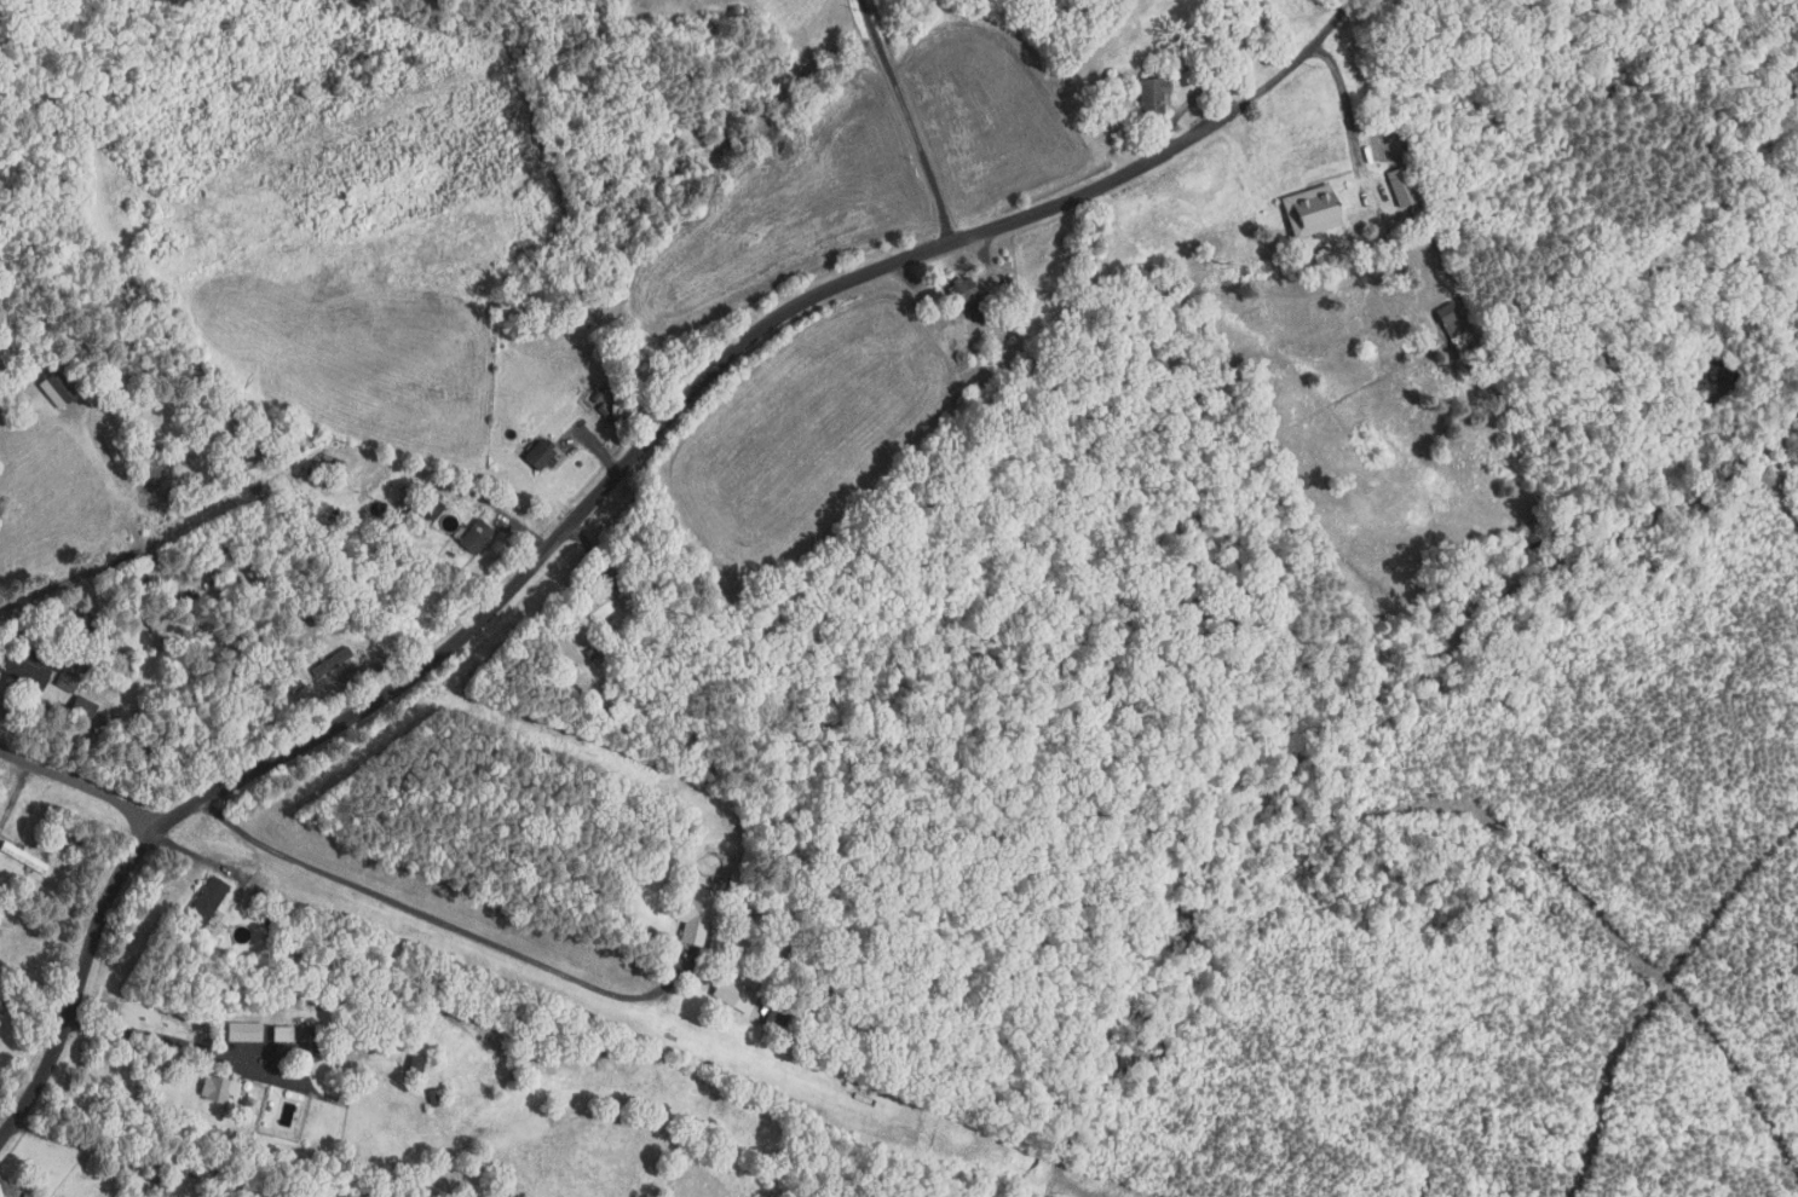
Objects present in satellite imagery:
building: (1250, 21)
road: (1329, 23)
building: (1208, 28)
building: (1266, 53)
building: (1151, 93)
road: (1183, 103)
road: (1345, 104)
building: (1404, 192)
building: (1310, 212)
road: (979, 251)
building: (1008, 282)
building: (967, 296)
building: (1451, 320)
building: (59, 384)
building: (980, 392)
building: (598, 397)
road: (595, 444)
building: (540, 452)
building: (332, 463)
building: (420, 505)
building: (432, 510)
road: (581, 515)
building: (188, 516)
road: (521, 530)
building: (476, 534)
road: (589, 551)
building: (242, 569)
road: (74, 577)
building: (138, 582)
building: (621, 592)
building: (189, 602)
building: (589, 611)
building: (94, 635)
building: (592, 652)
building: (328, 661)
building: (22, 667)
road: (347, 671)
building: (68, 675)
building: (293, 686)
building: (82, 710)
road: (21, 711)
building: (56, 716)
road: (80, 792)
road: (15, 793)
building: (22, 855)
road: (207, 861)
building: (204, 900)
building: (692, 914)
road: (439, 921)
building: (785, 935)
building: (731, 994)
building: (773, 1017)
building: (242, 1031)
building: (282, 1033)
road: (179, 1042)
building: (415, 1068)
building: (217, 1088)
building: (432, 1097)
road: (133, 1158)
building: (160, 1186)
road: (10, 1187)

